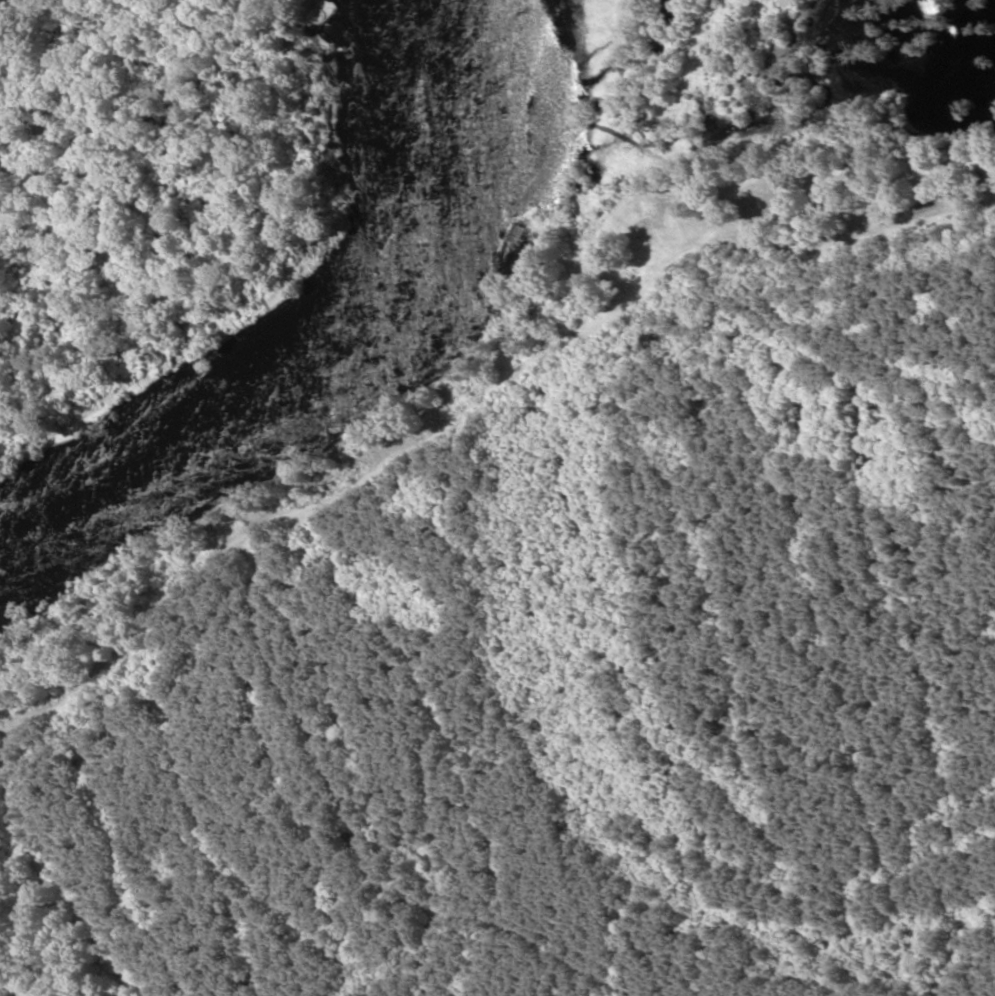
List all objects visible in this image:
river: (325, 331)

